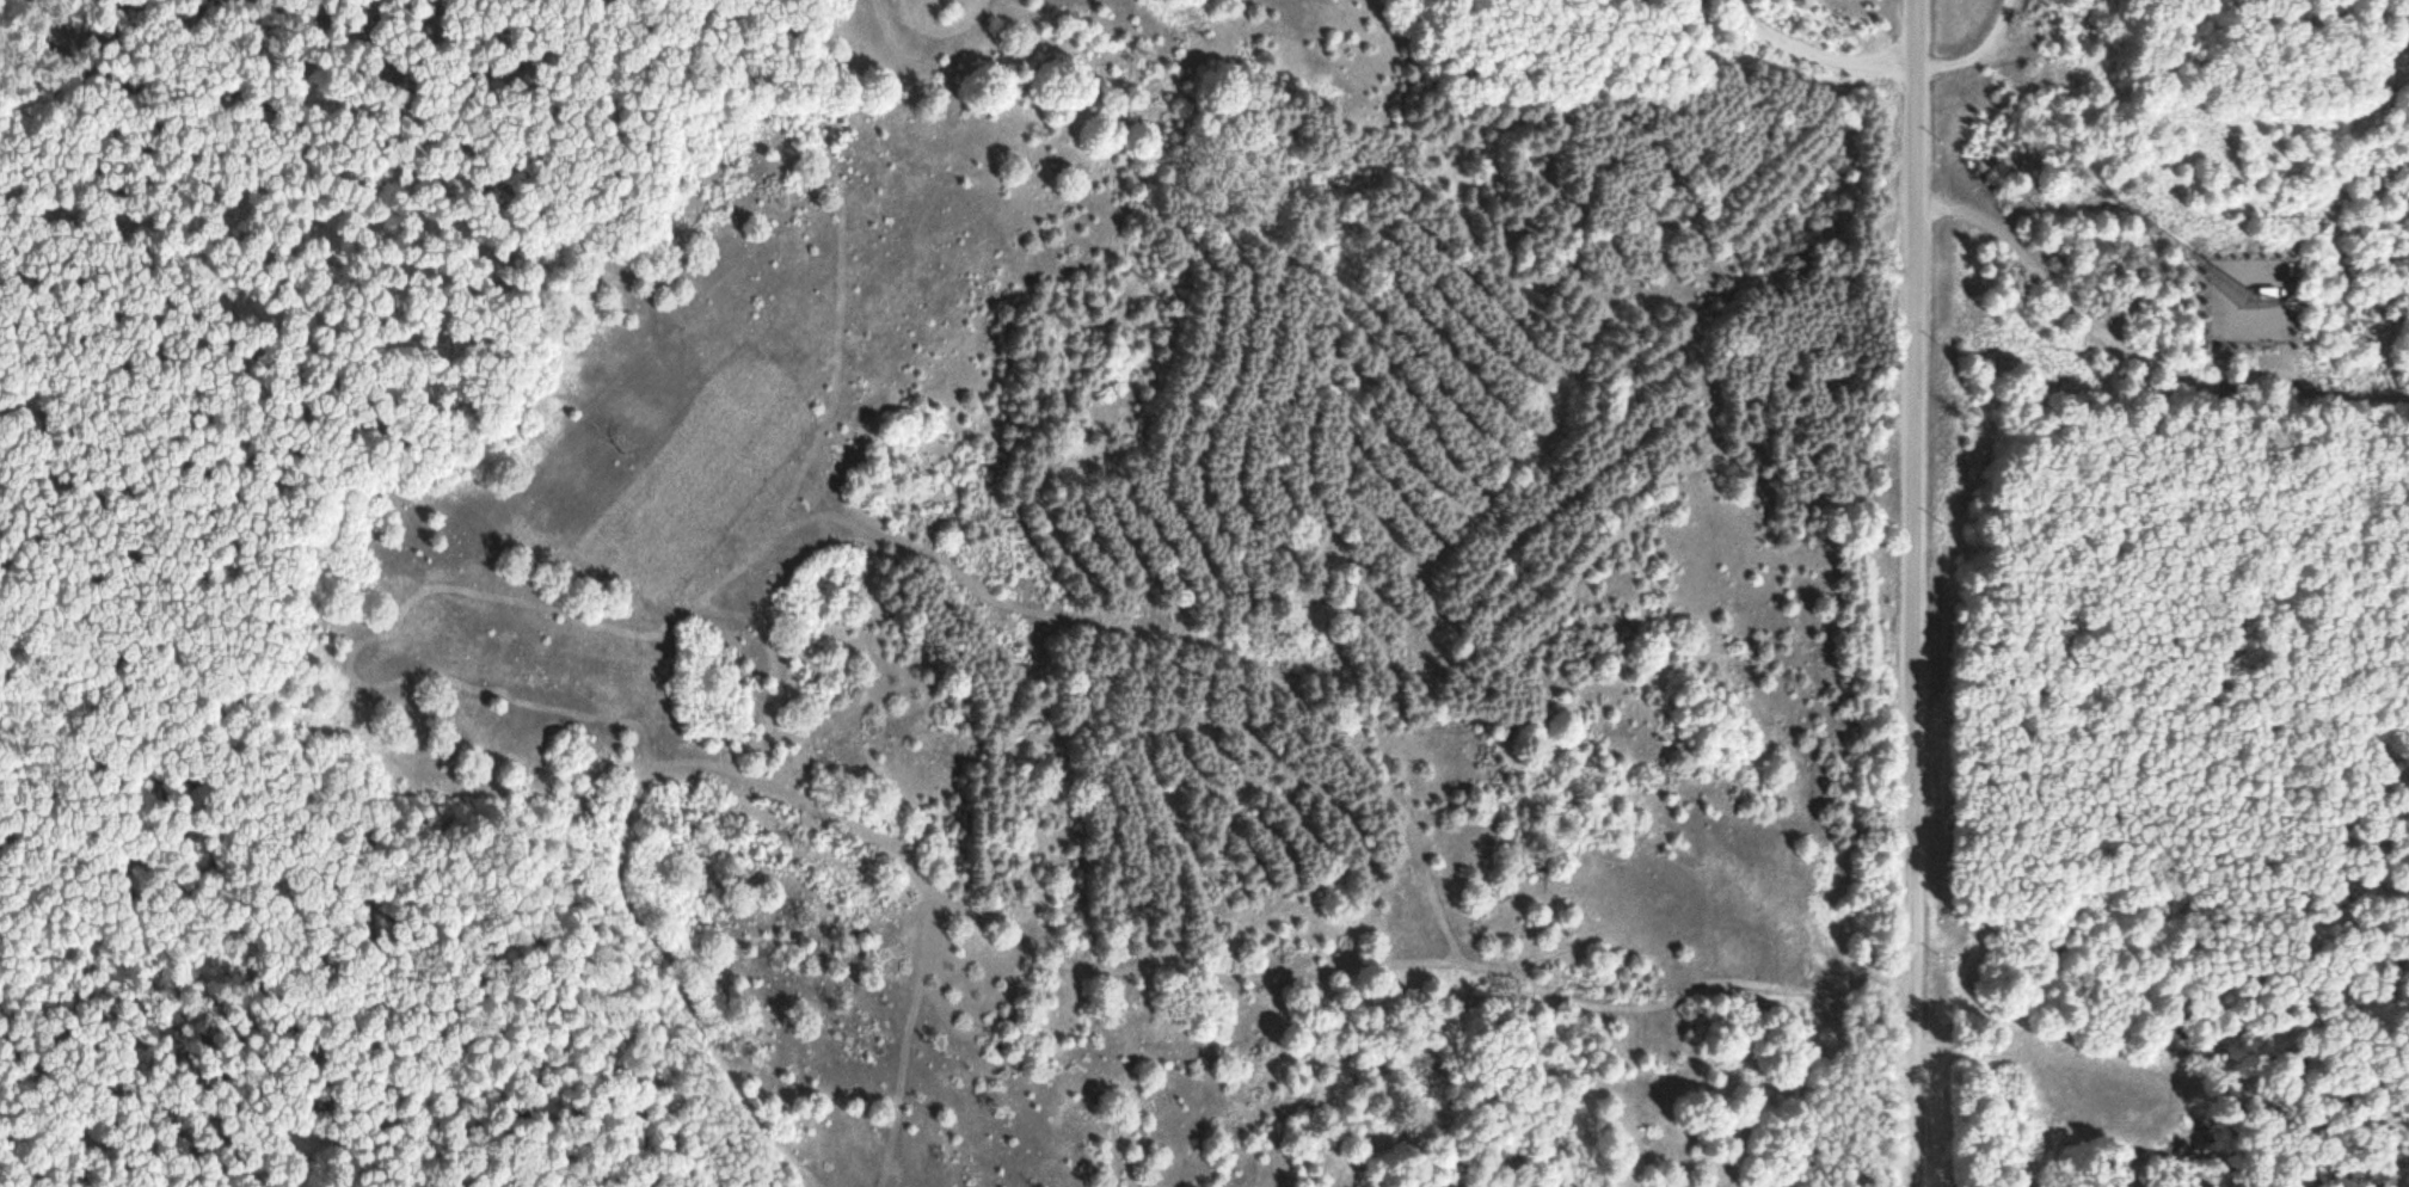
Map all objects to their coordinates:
road: (1913, 102)
building: (2243, 303)
road: (1913, 695)

